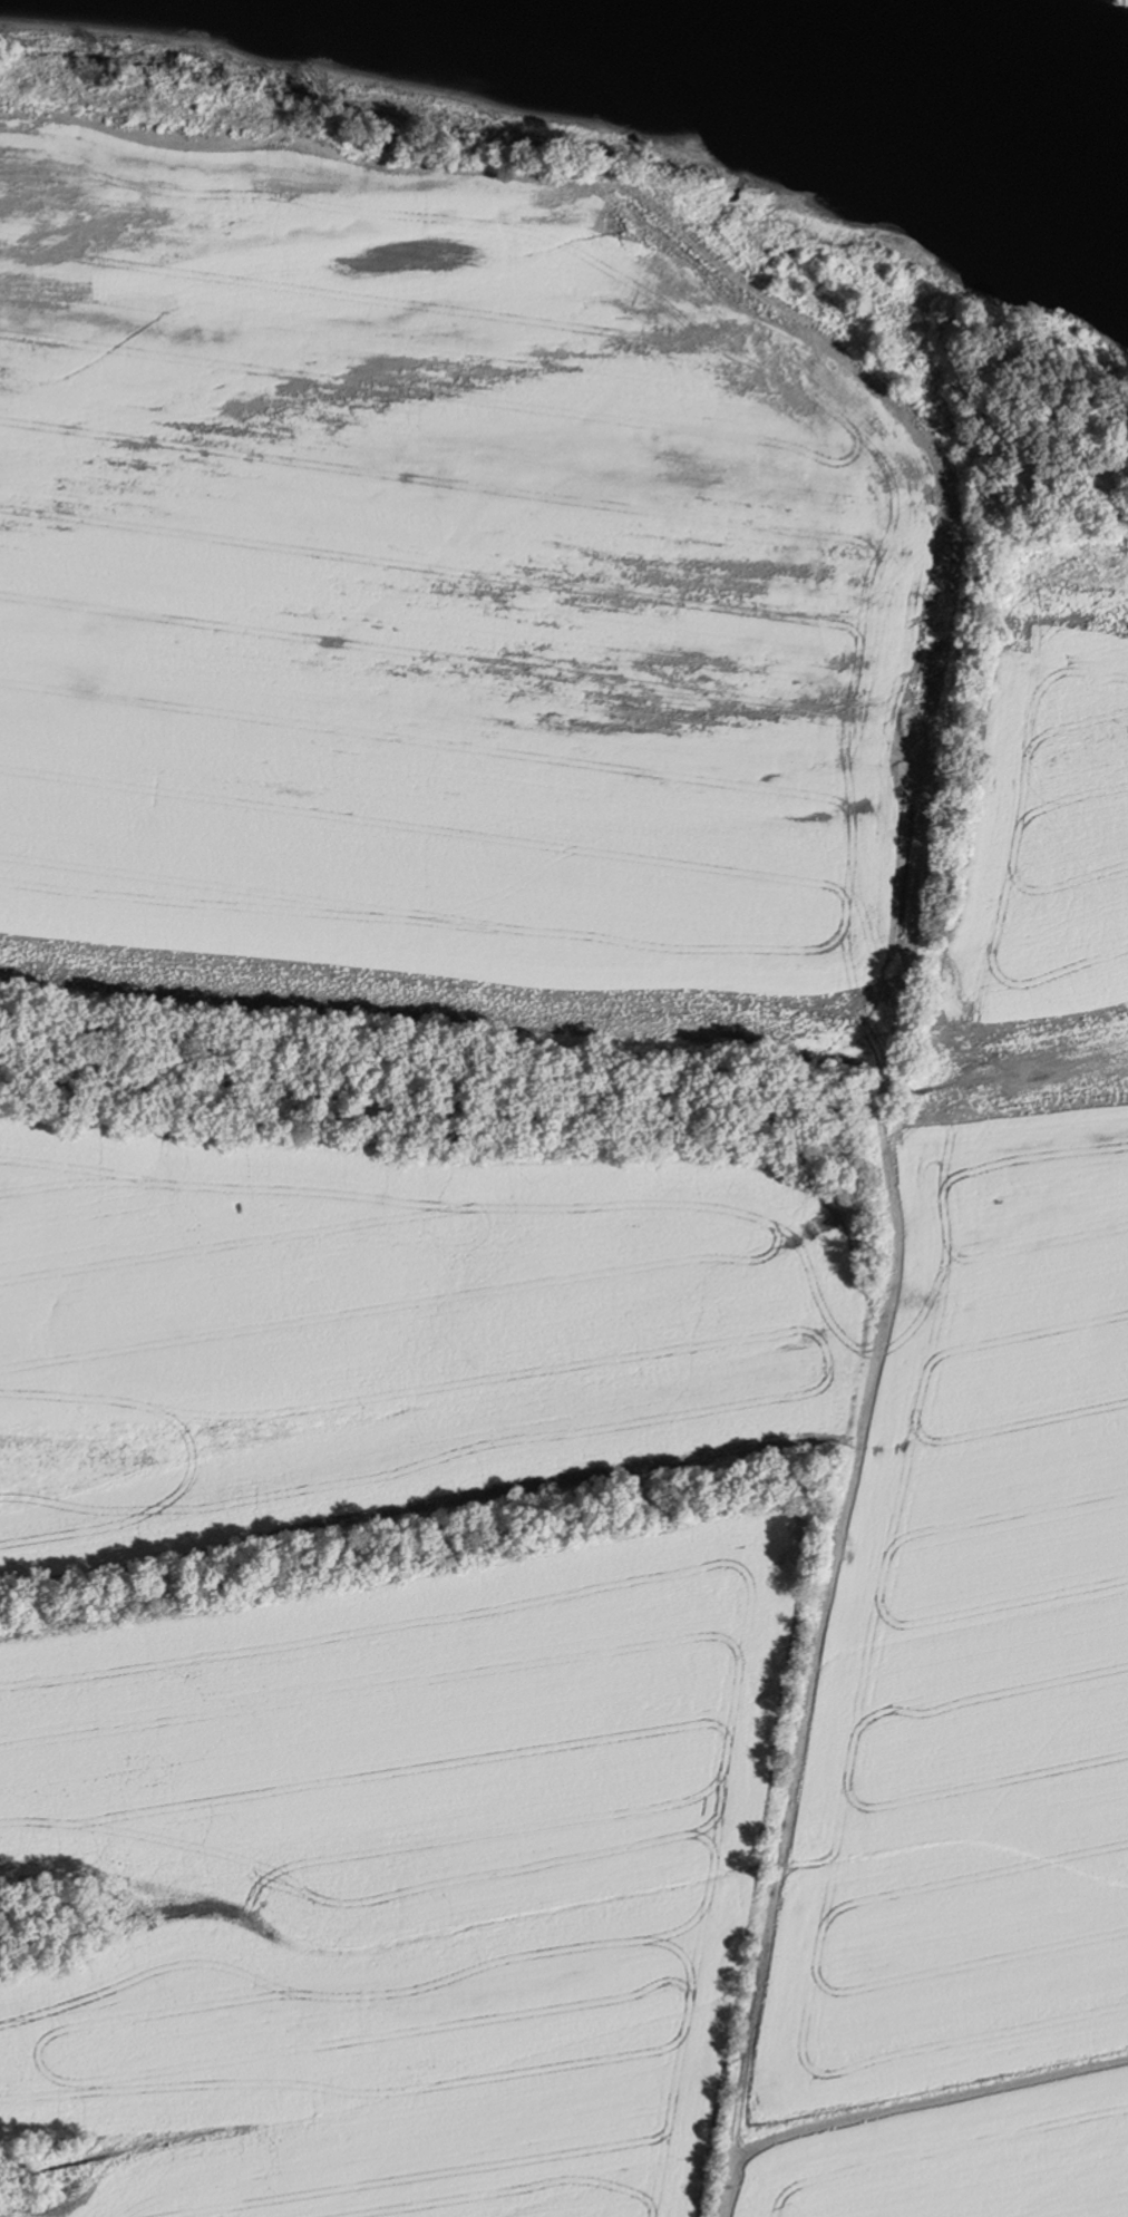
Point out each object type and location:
road: (813, 1789)

